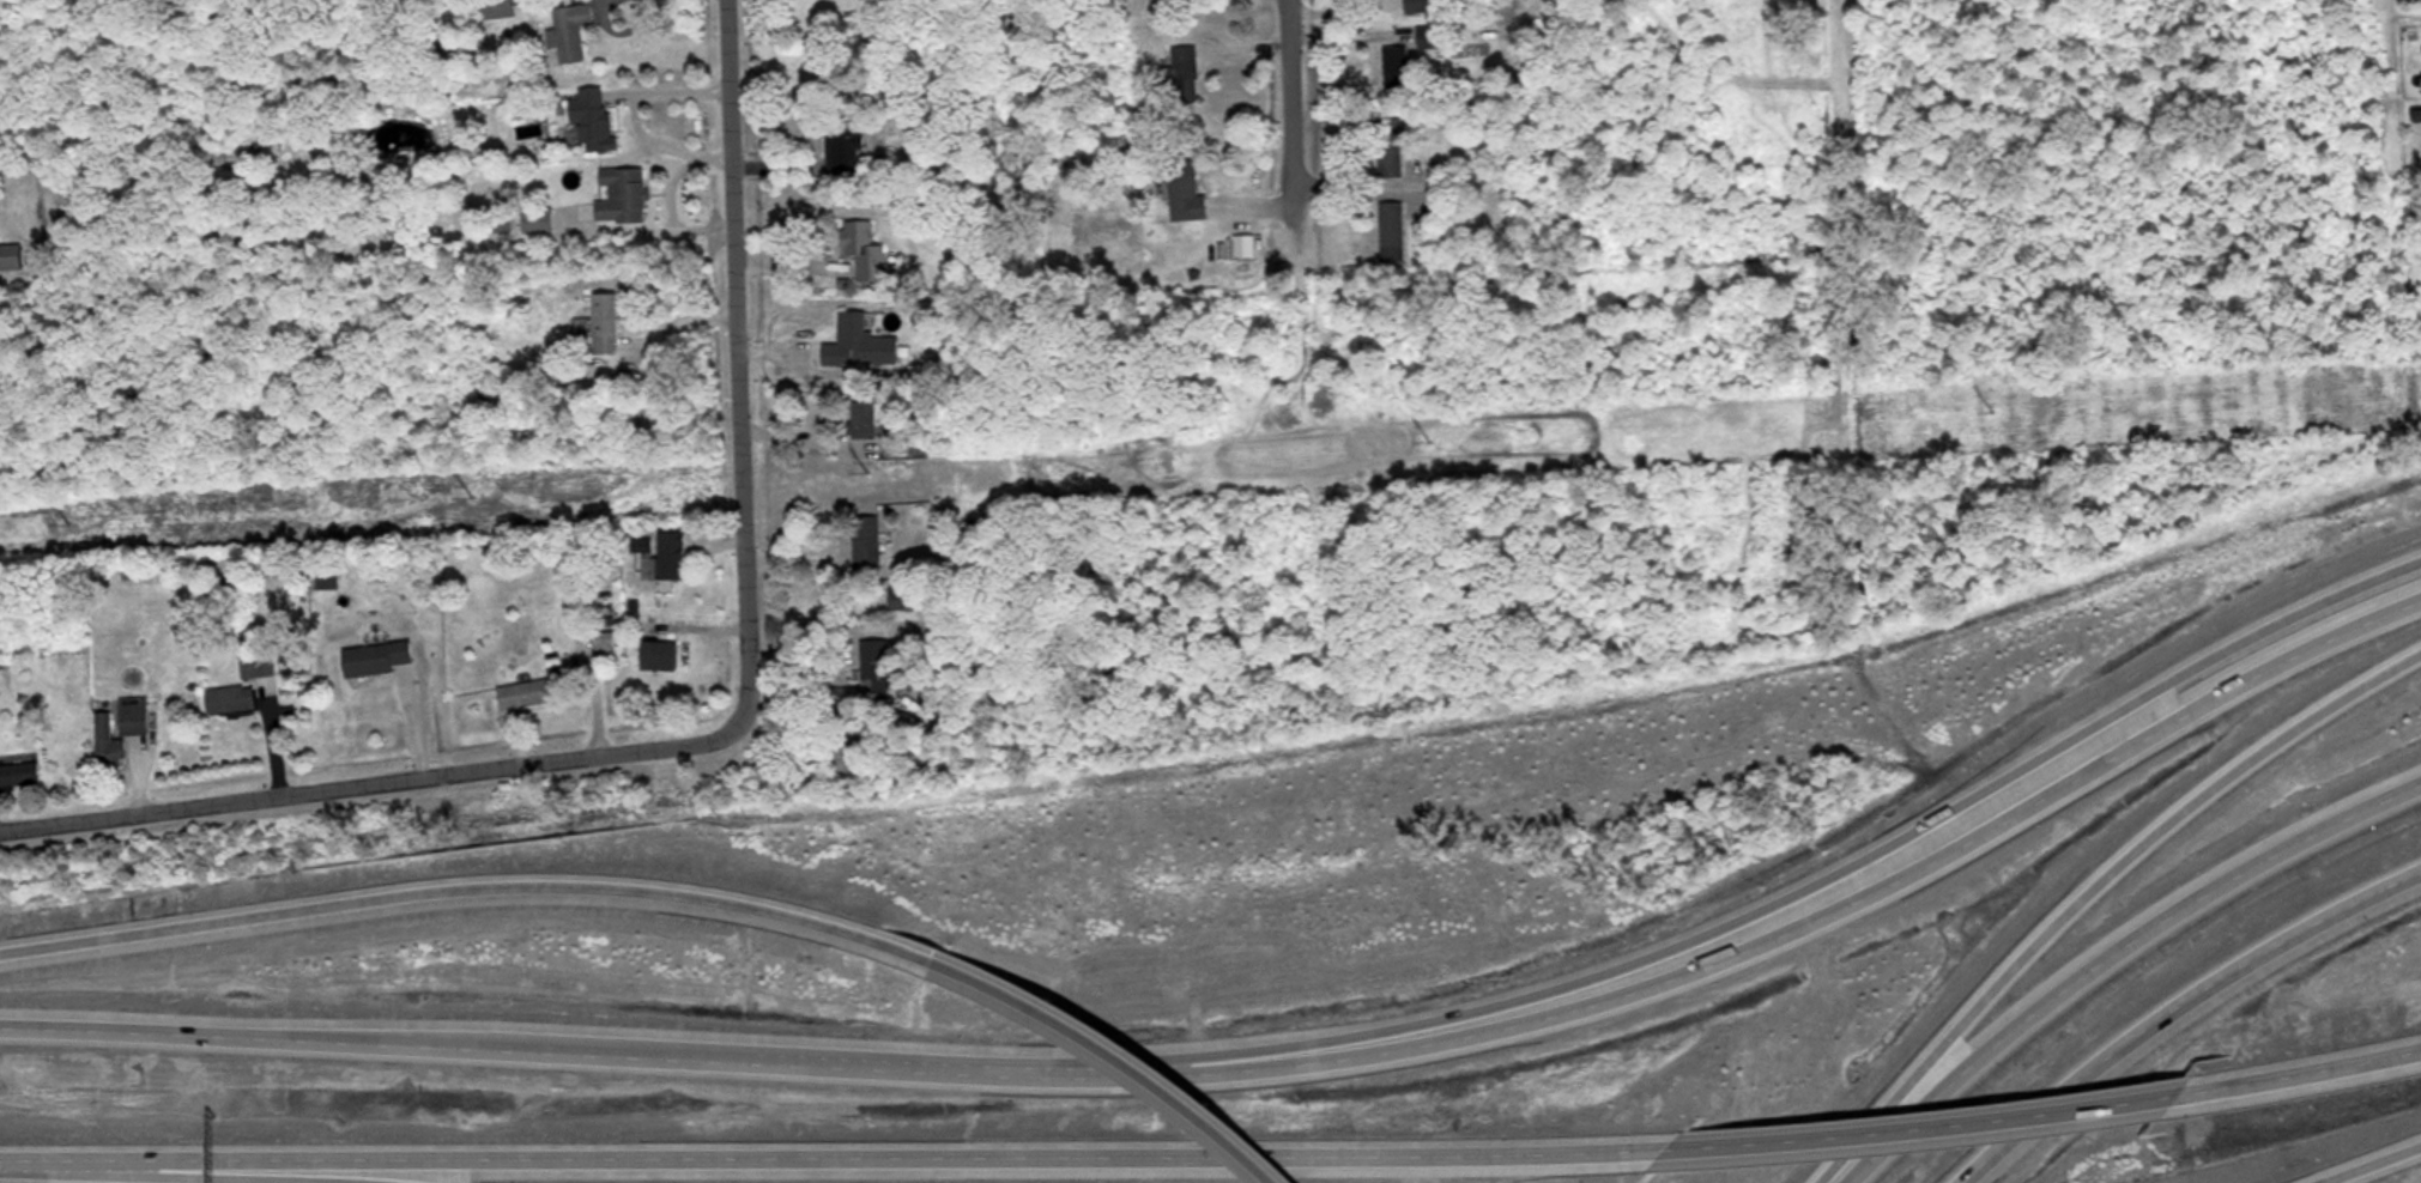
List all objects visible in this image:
building: (1423, 5)
building: (497, 7)
building: (570, 30)
building: (1430, 35)
building: (1397, 65)
building: (1186, 73)
road: (1282, 115)
building: (593, 117)
road: (1838, 120)
building: (843, 141)
building: (1391, 145)
building: (1186, 192)
building: (622, 194)
building: (1392, 230)
building: (864, 249)
building: (10, 256)
building: (606, 323)
building: (860, 342)
road: (733, 362)
power tower: (1995, 412)
power tower: (1430, 442)
power tower: (868, 472)
power tower: (472, 497)
power tower: (68, 522)
building: (867, 541)
building: (667, 558)
building: (131, 572)
building: (908, 597)
building: (605, 647)
building: (659, 654)
building: (377, 657)
building: (879, 666)
building: (244, 685)
building: (529, 692)
building: (134, 714)
building: (900, 733)
building: (109, 744)
building: (19, 775)
road: (368, 785)
road: (1903, 843)
road: (2135, 853)
road: (1907, 872)
road: (470, 887)
road: (2104, 957)
road: (2171, 1005)
road: (1124, 1048)
road: (418, 1052)
road: (1101, 1067)
road: (2296, 1076)
road: (1921, 1128)
road: (841, 1161)
road: (2369, 1163)
road: (6, 1172)
road: (67, 1178)

